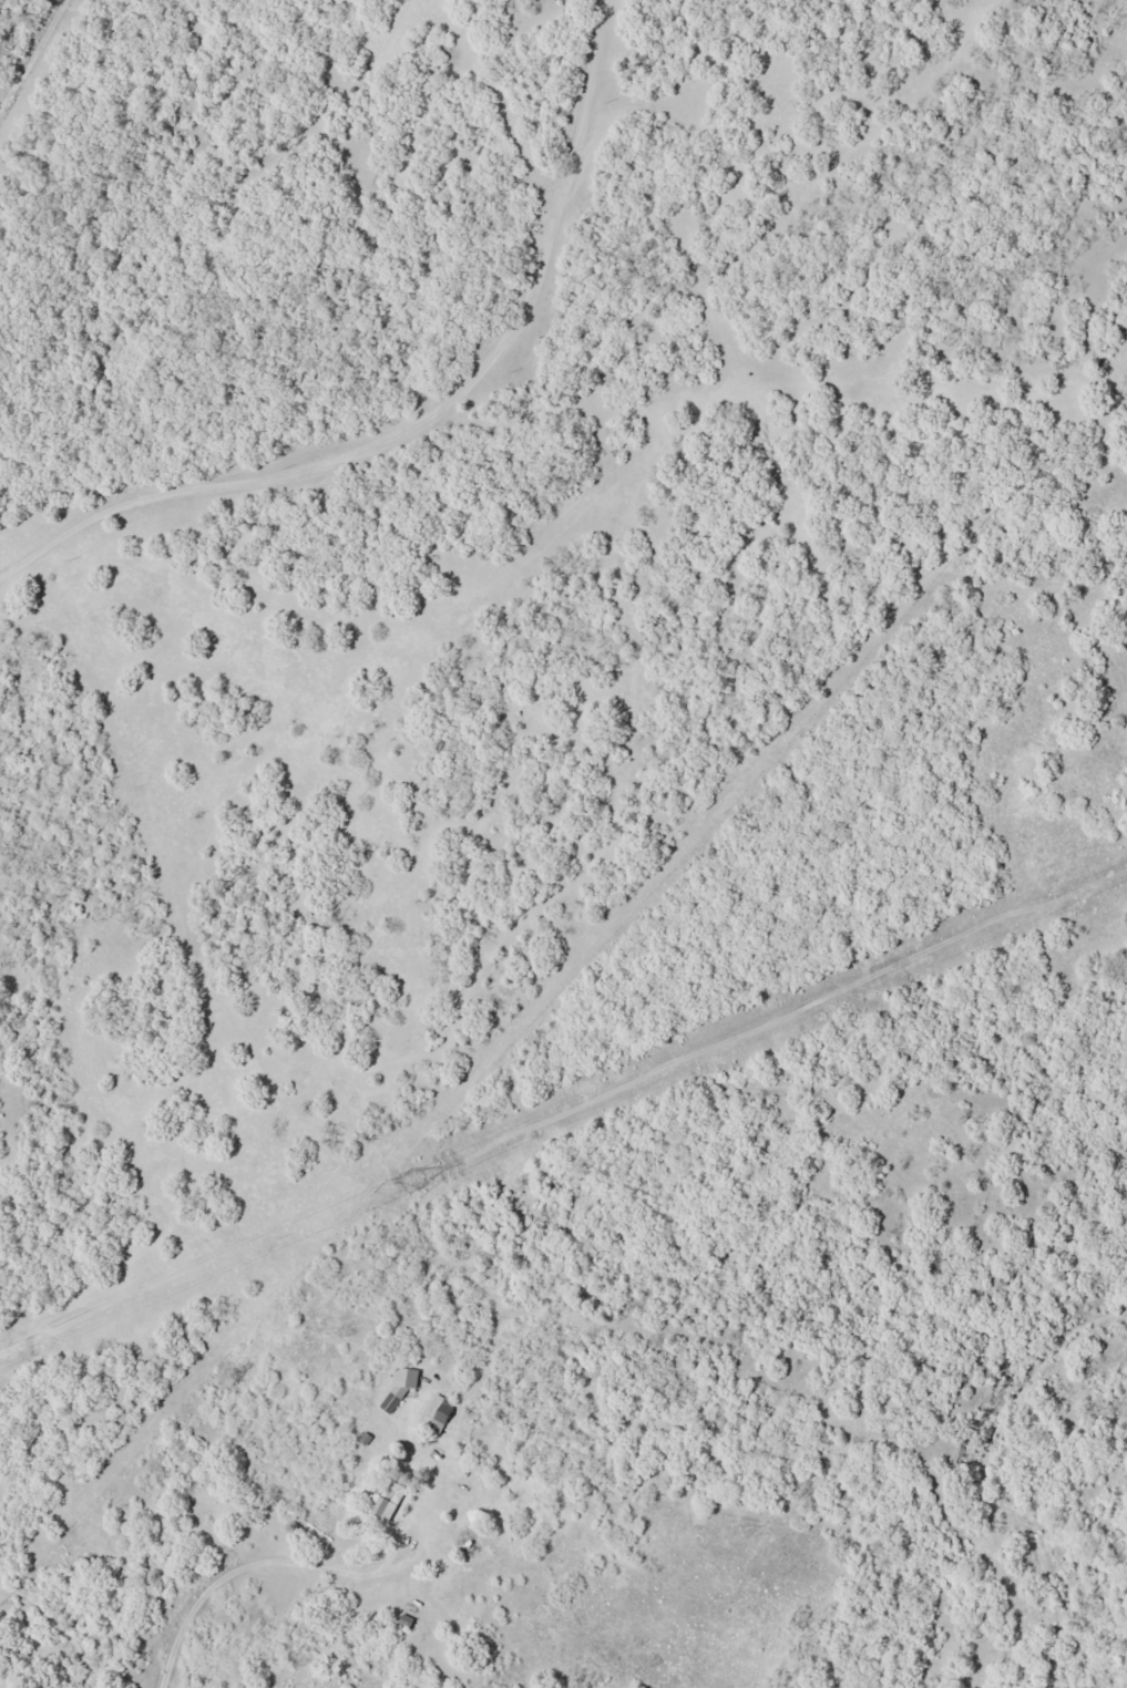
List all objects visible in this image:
road: (442, 430)
power tower: (407, 1182)
building: (400, 1386)
building: (438, 1414)
building: (385, 1501)
road: (221, 1556)

